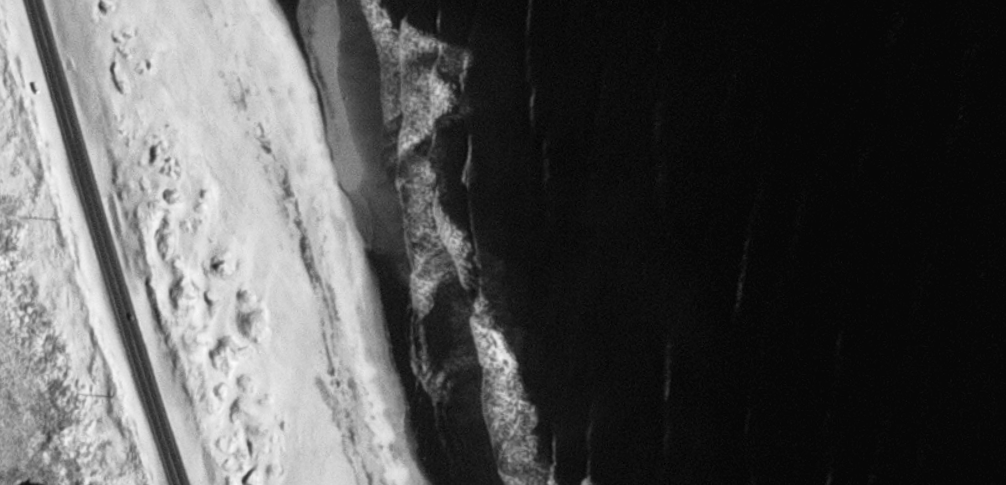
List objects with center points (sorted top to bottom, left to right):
power tower: (56, 217)
road: (103, 243)
road: (287, 252)
power tower: (117, 396)

